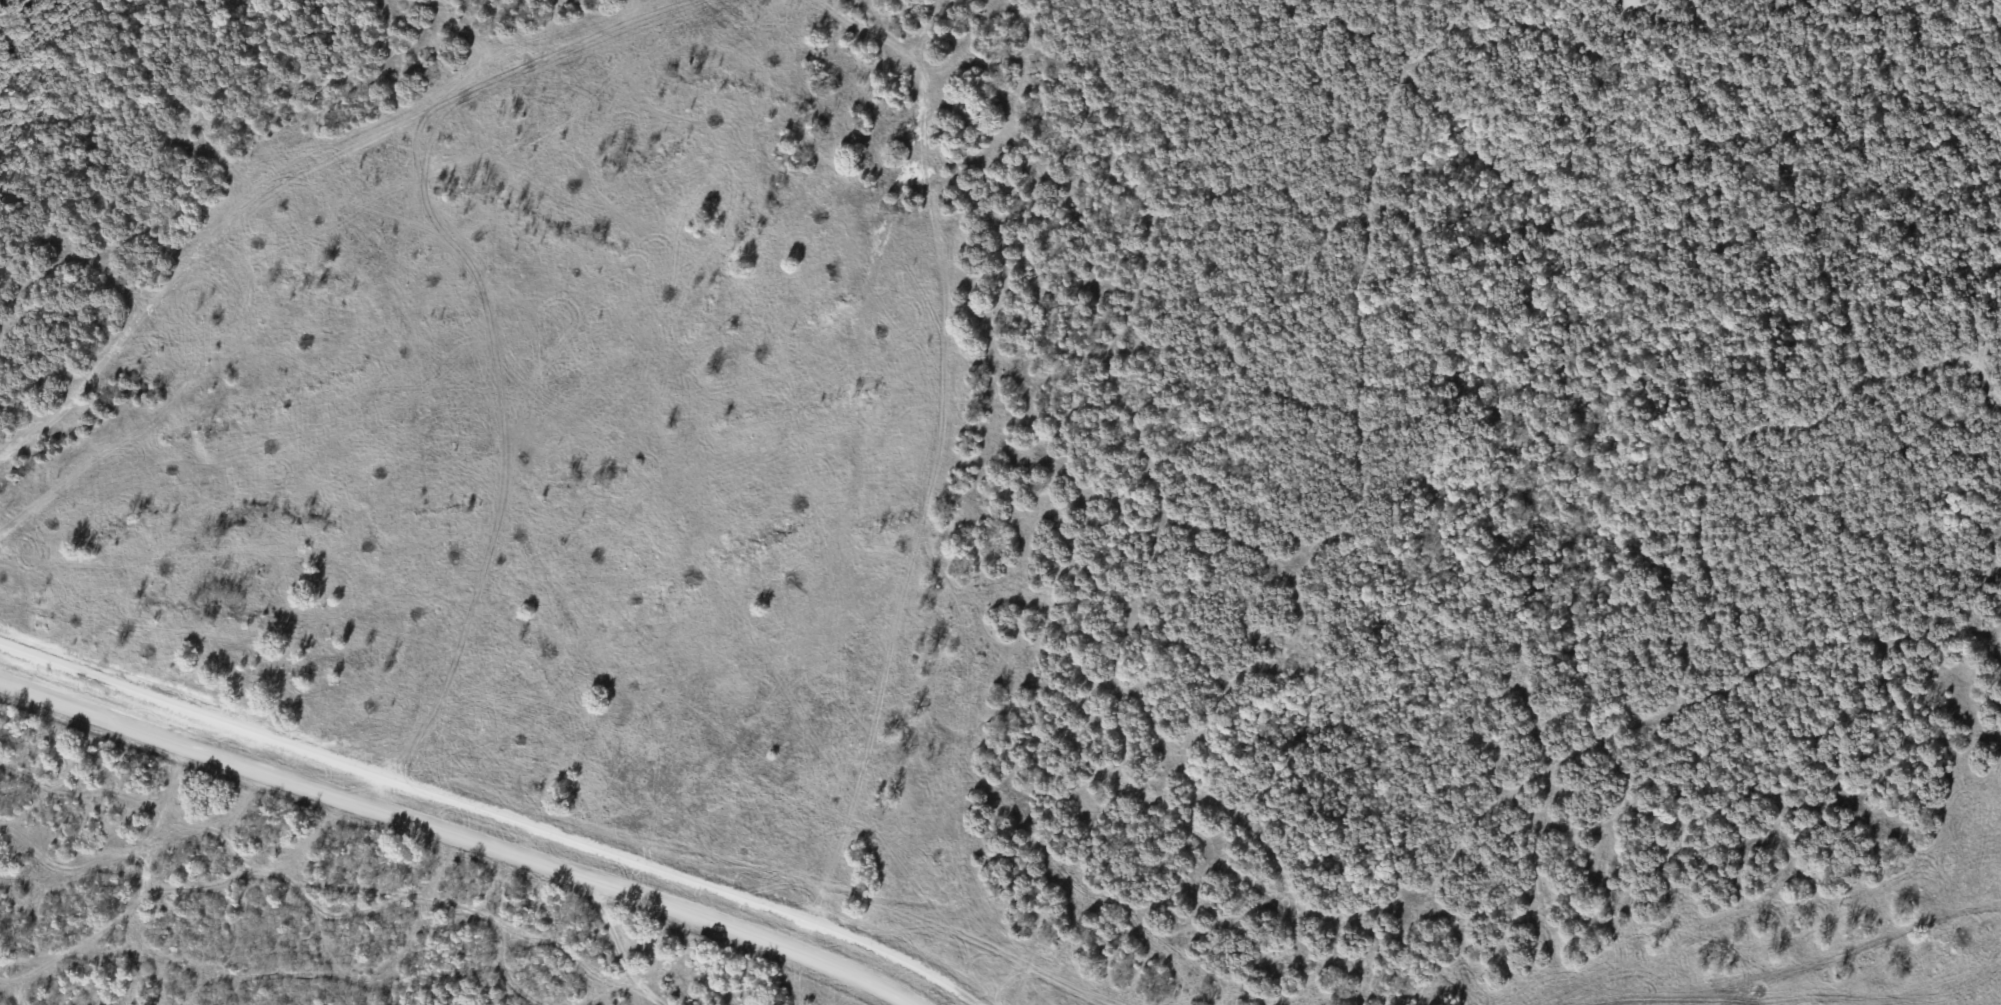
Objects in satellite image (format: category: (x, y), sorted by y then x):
road: (492, 813)
road: (455, 841)

